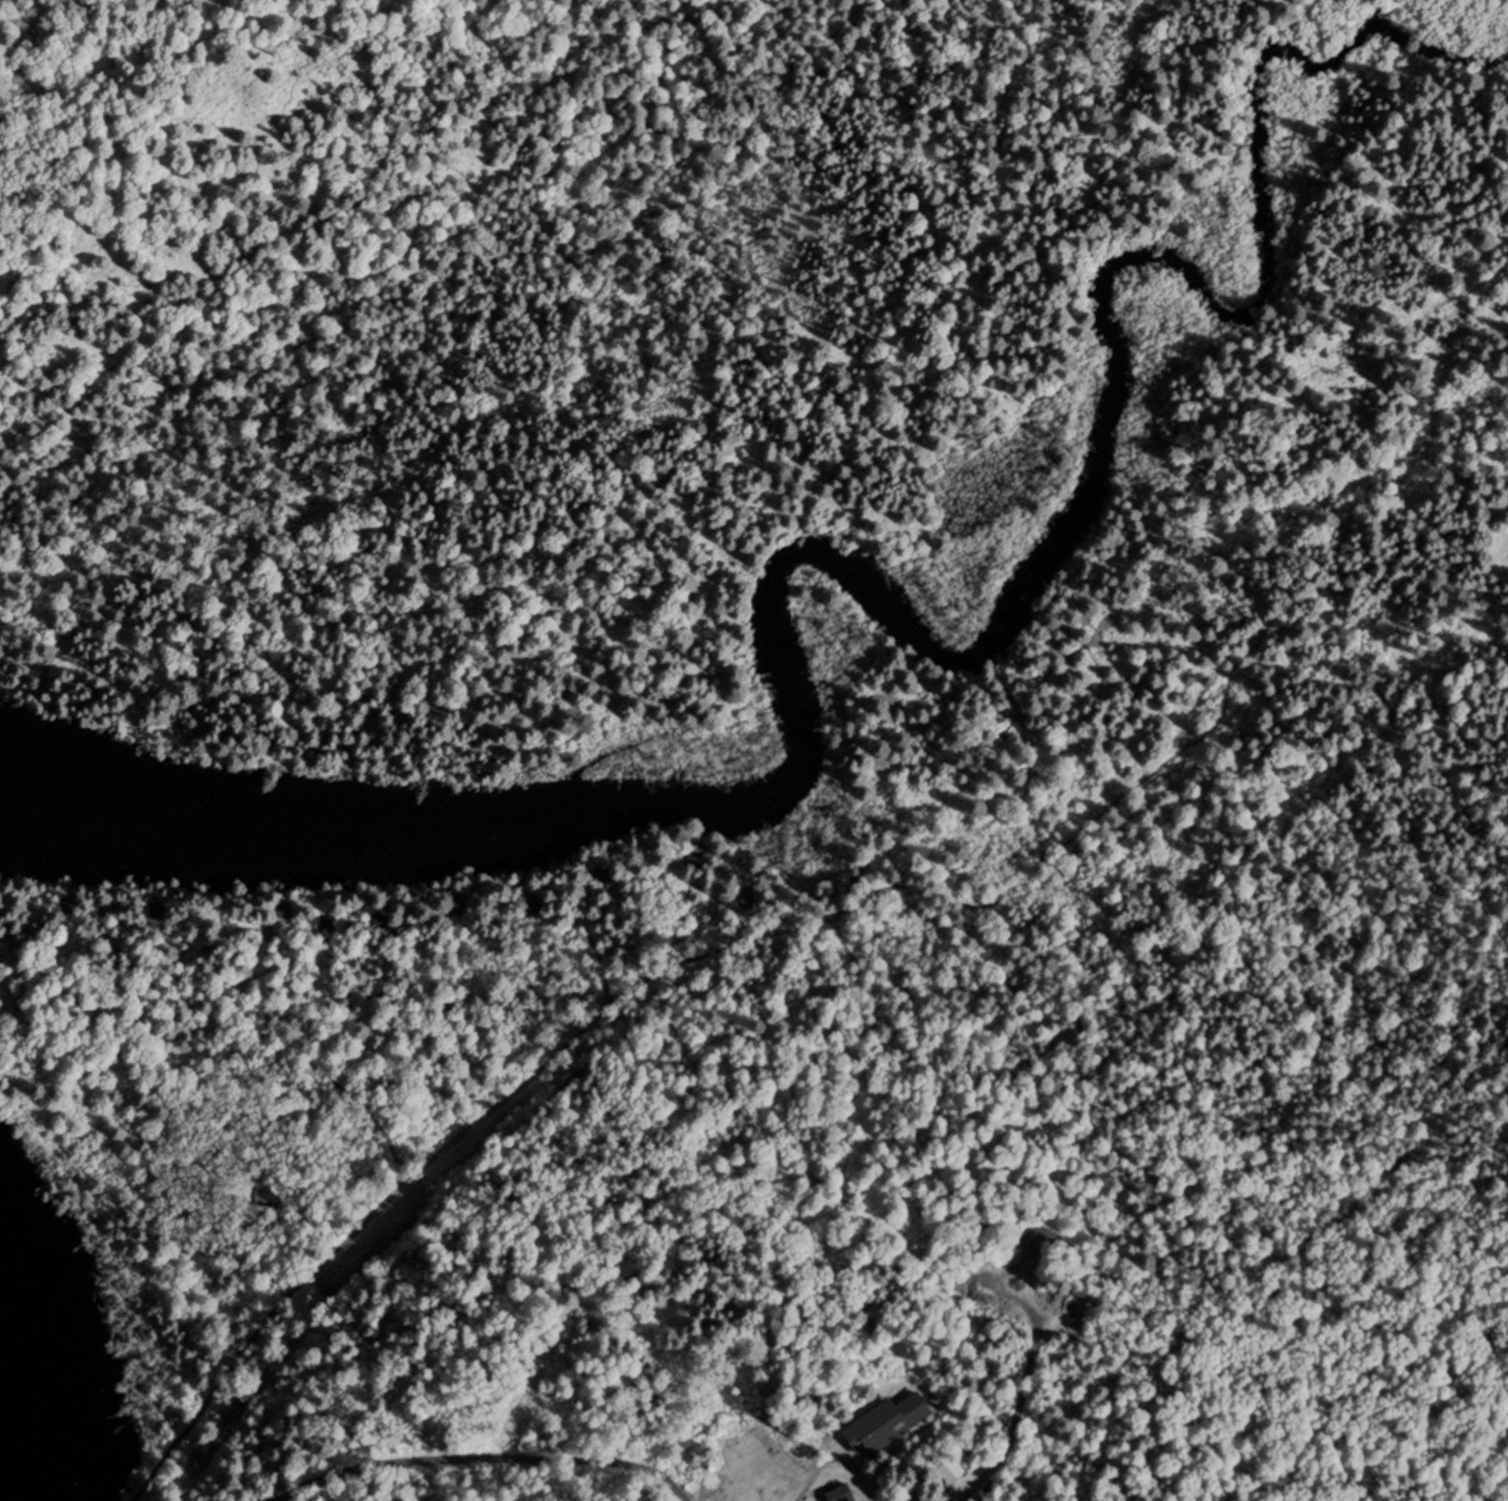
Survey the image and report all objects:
road: (181, 162)
road: (1460, 584)
road: (789, 926)
road: (341, 1050)
road: (1030, 1397)
road: (510, 1419)
building: (889, 1421)
building: (969, 1453)
building: (952, 1469)
building: (843, 1493)

